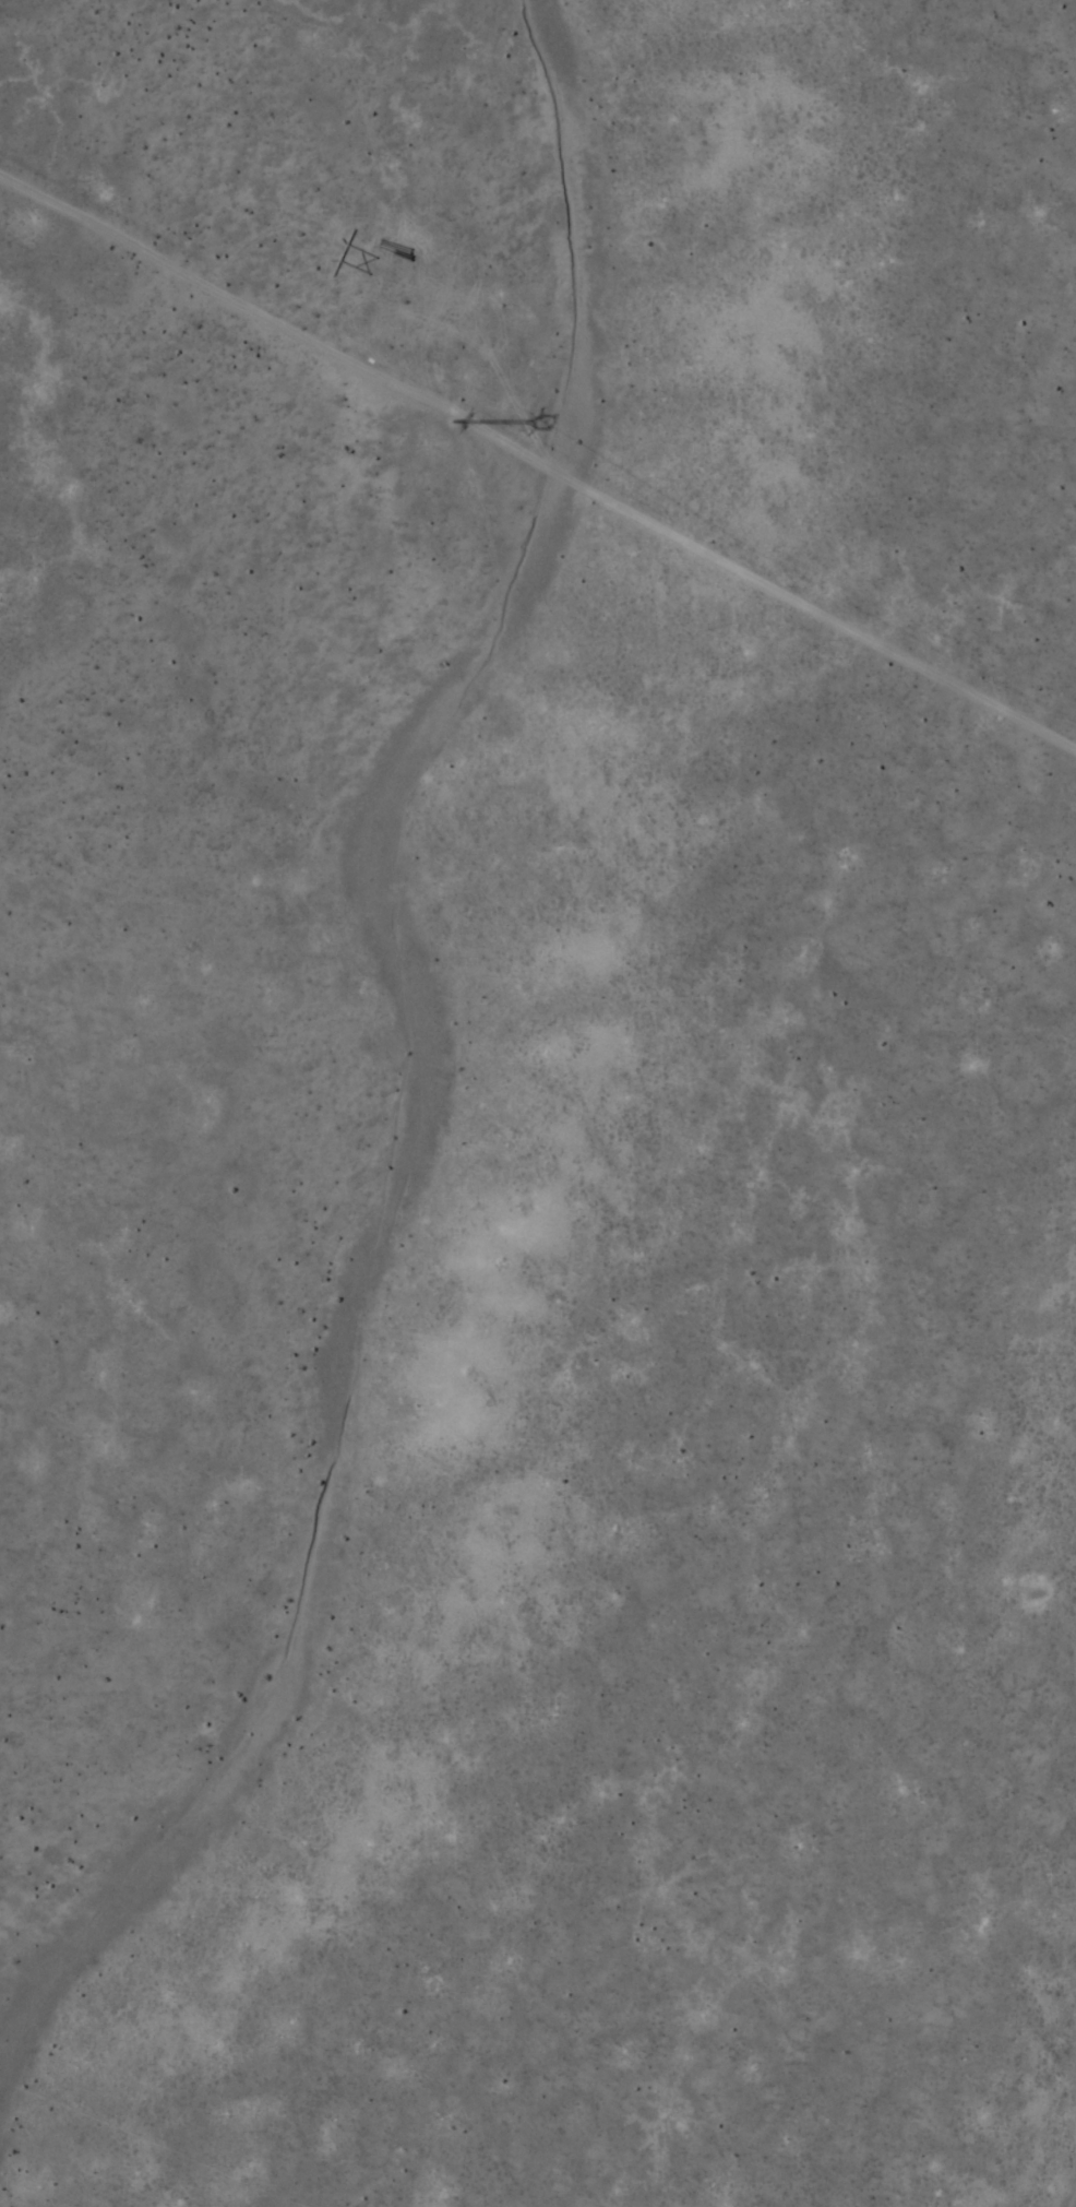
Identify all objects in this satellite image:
power tower: (440, 418)
road: (991, 1103)

